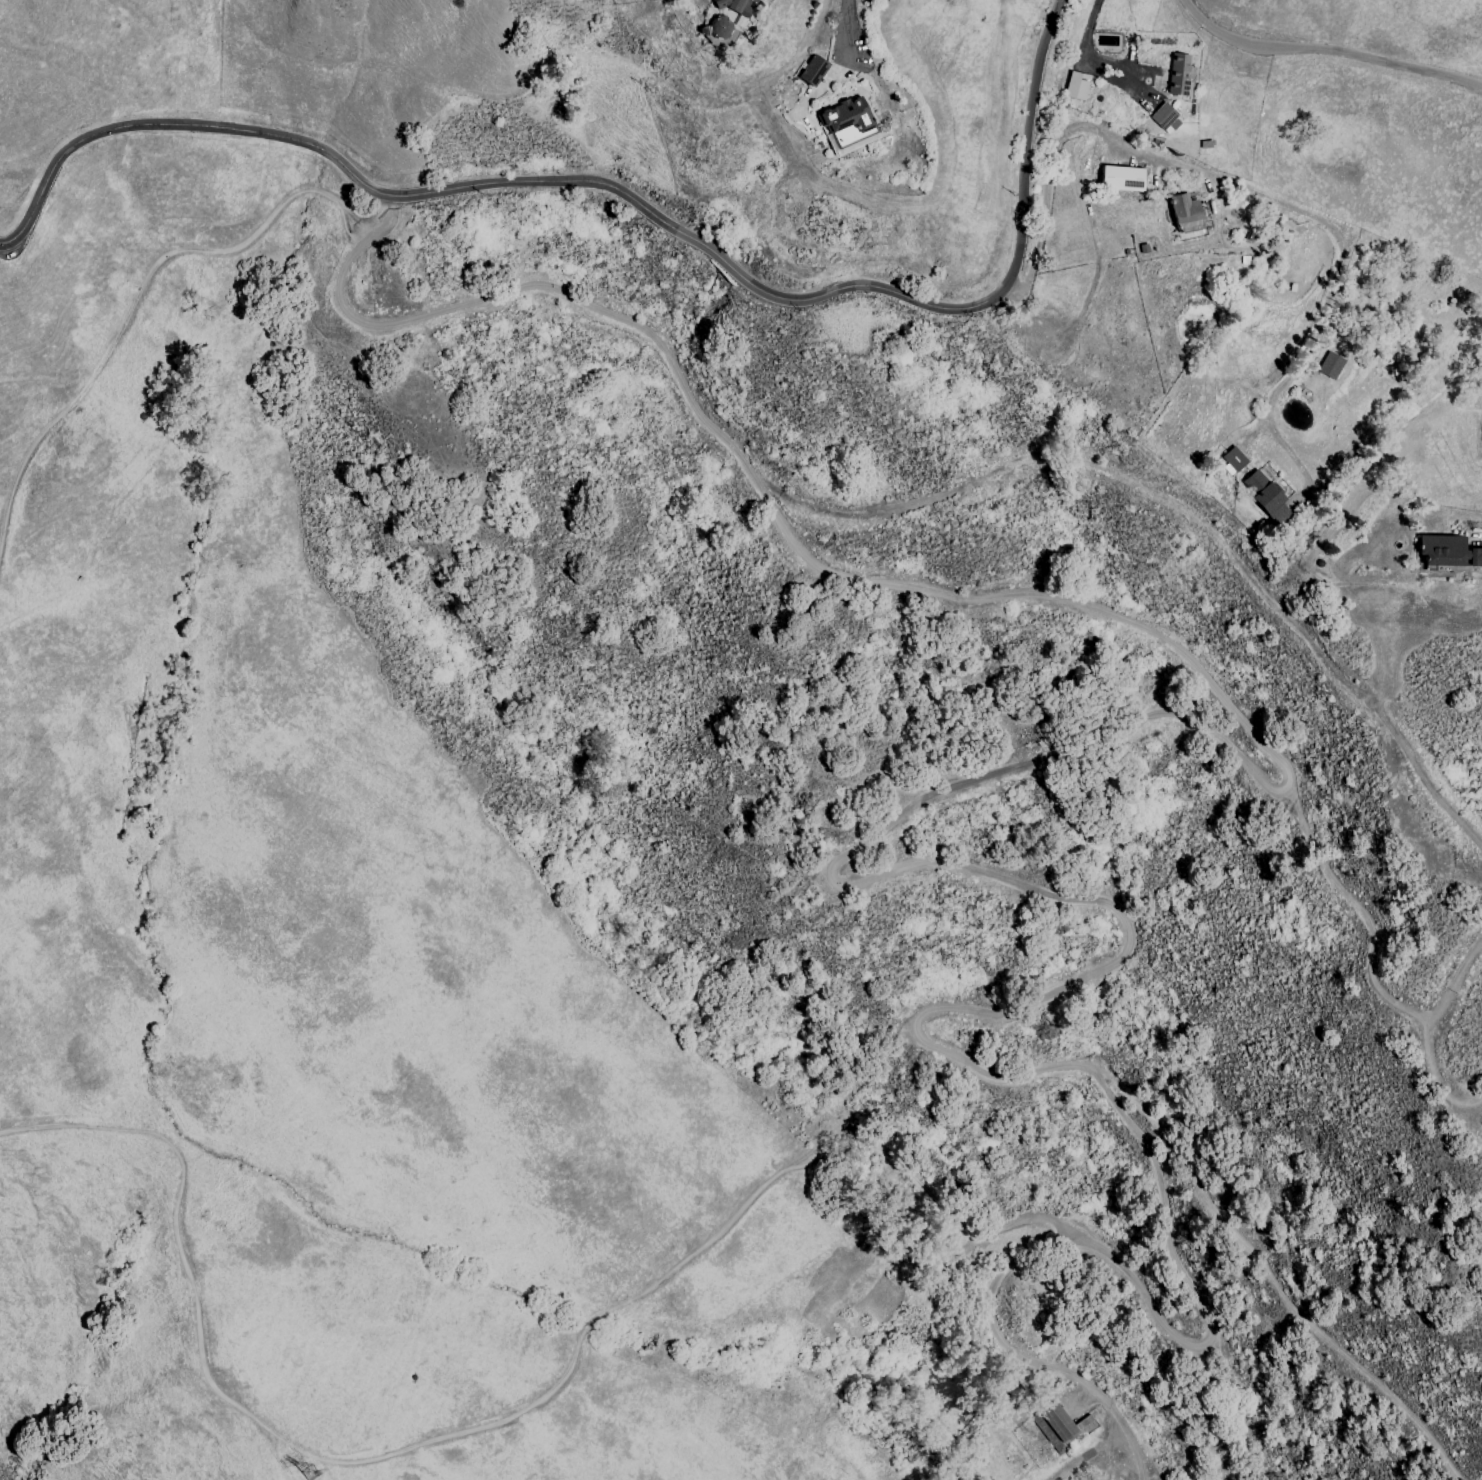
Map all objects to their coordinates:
building: (738, 6)
road: (847, 24)
building: (720, 31)
road: (1083, 43)
road: (1325, 49)
building: (813, 70)
building: (1178, 74)
building: (1076, 85)
building: (1164, 118)
building: (848, 124)
building: (1121, 178)
road: (1241, 188)
road: (632, 198)
building: (1185, 213)
road: (388, 218)
road: (574, 300)
building: (1330, 365)
building: (1232, 460)
building: (1265, 497)
road: (1178, 507)
road: (1477, 539)
building: (1447, 552)
road: (947, 862)
road: (1371, 966)
road: (1454, 984)
road: (1121, 1265)
road: (1271, 1279)
road: (1026, 1404)
road: (495, 1423)
building: (1063, 1423)
power tower: (316, 1474)

